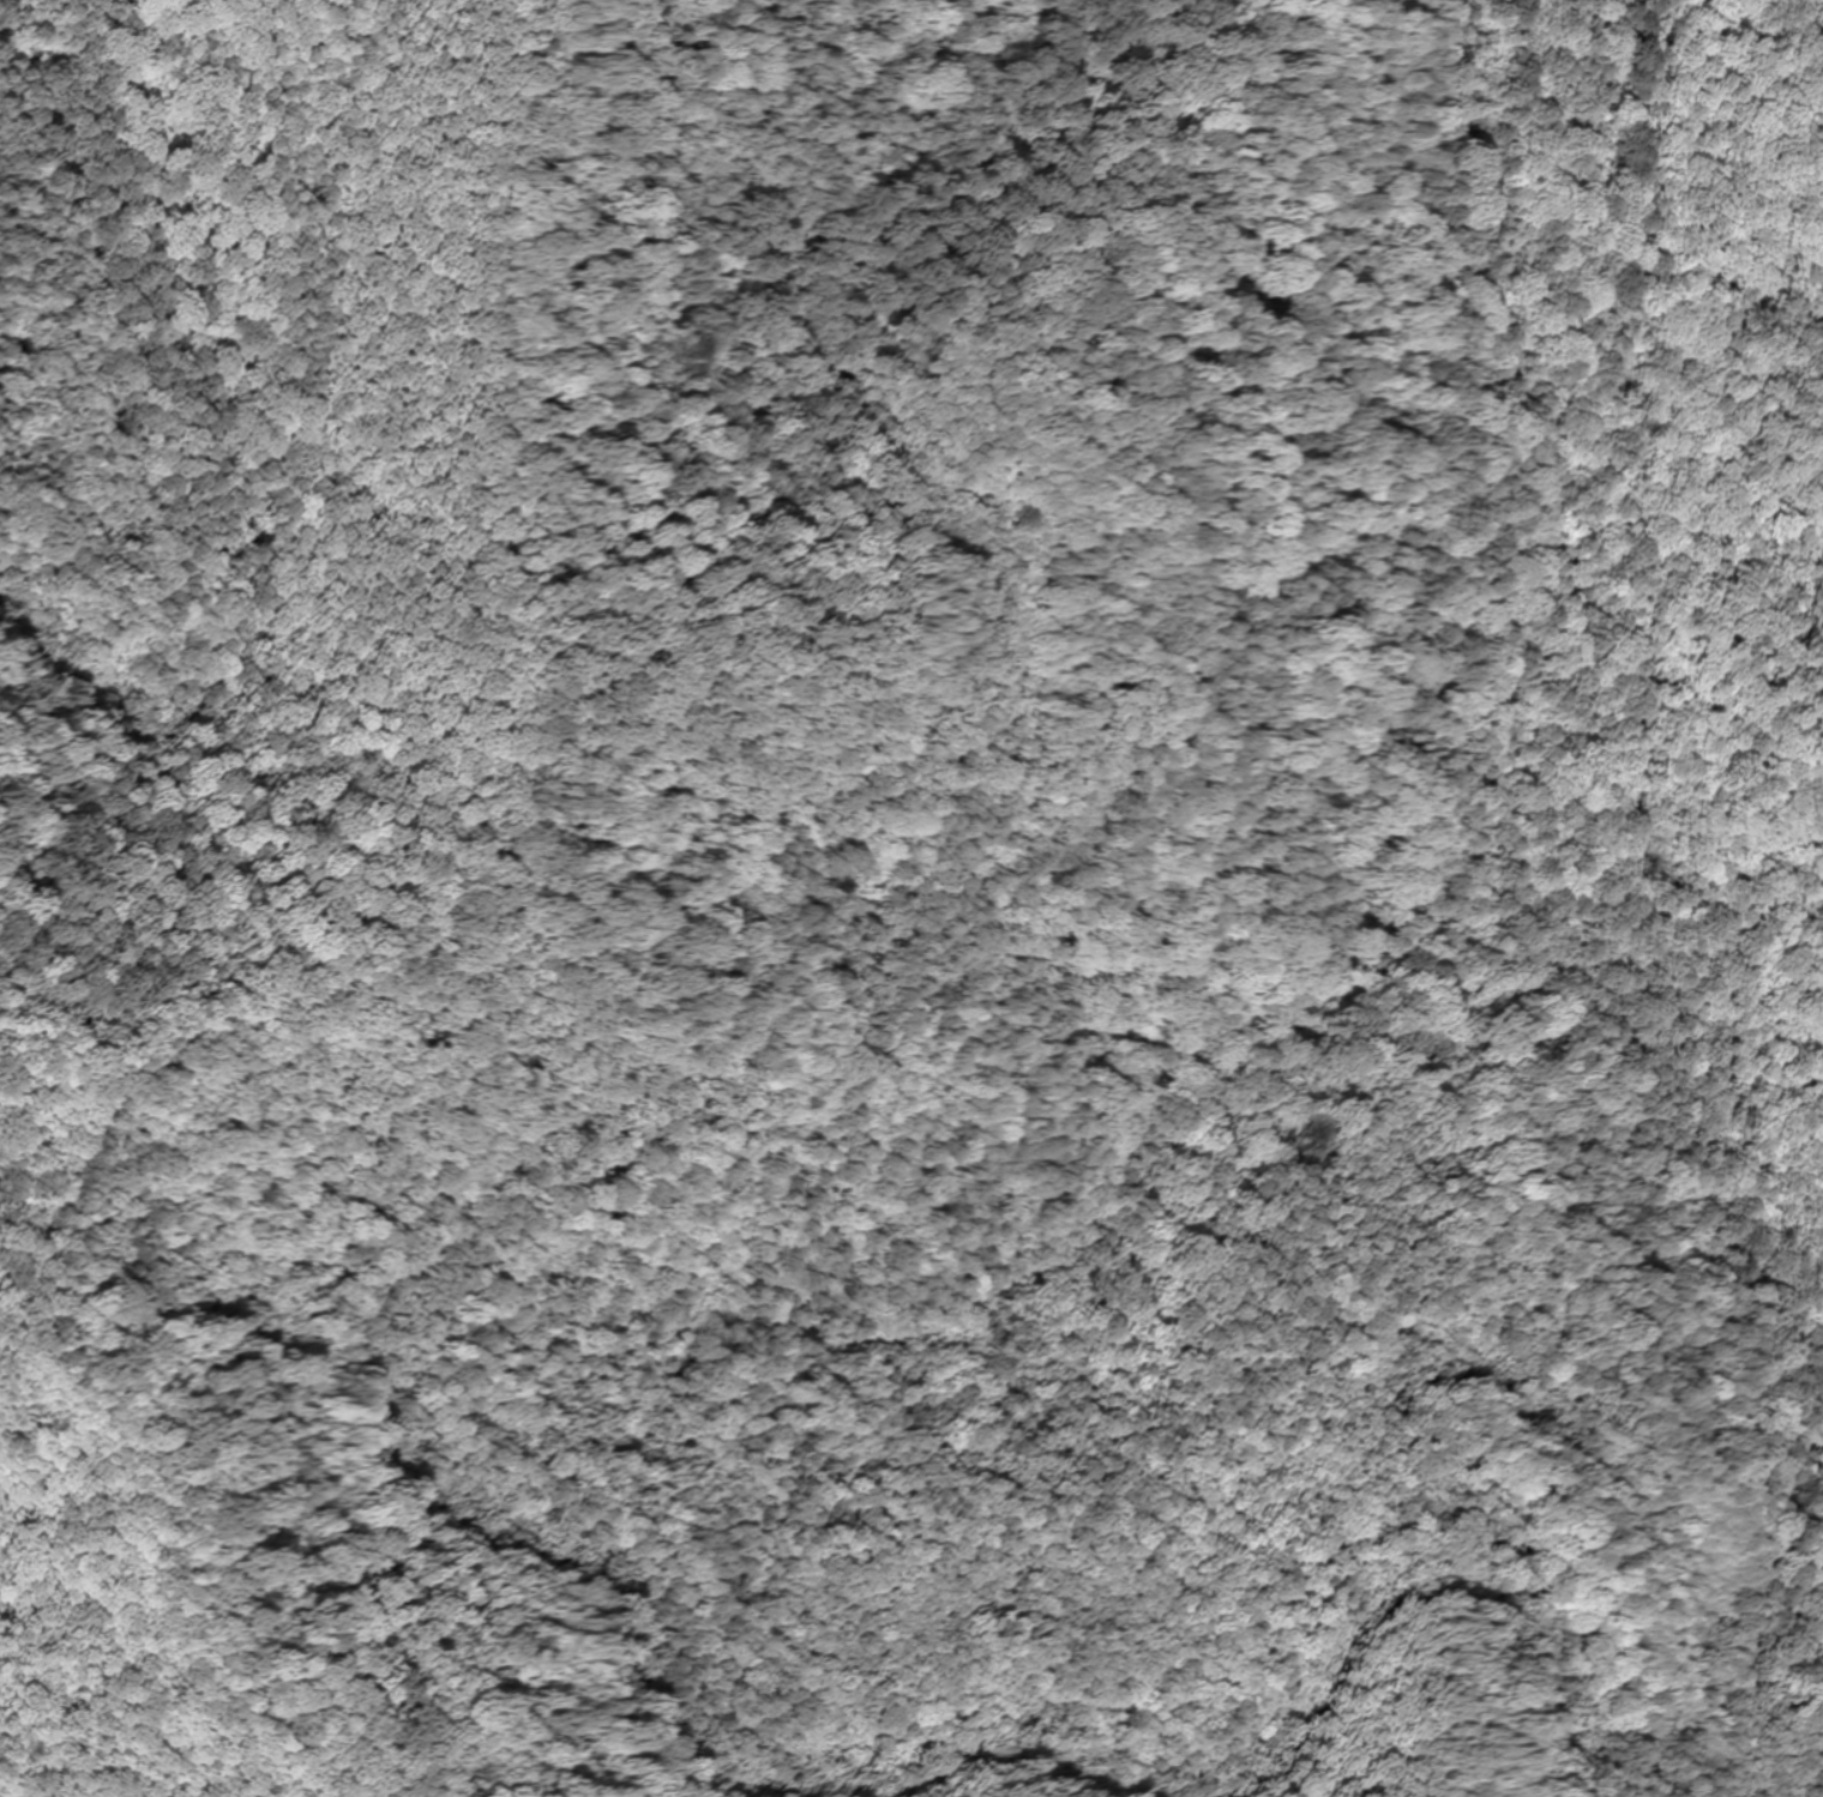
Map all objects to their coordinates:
road: (680, 358)
road: (278, 420)
road: (1632, 478)
road: (1770, 679)

